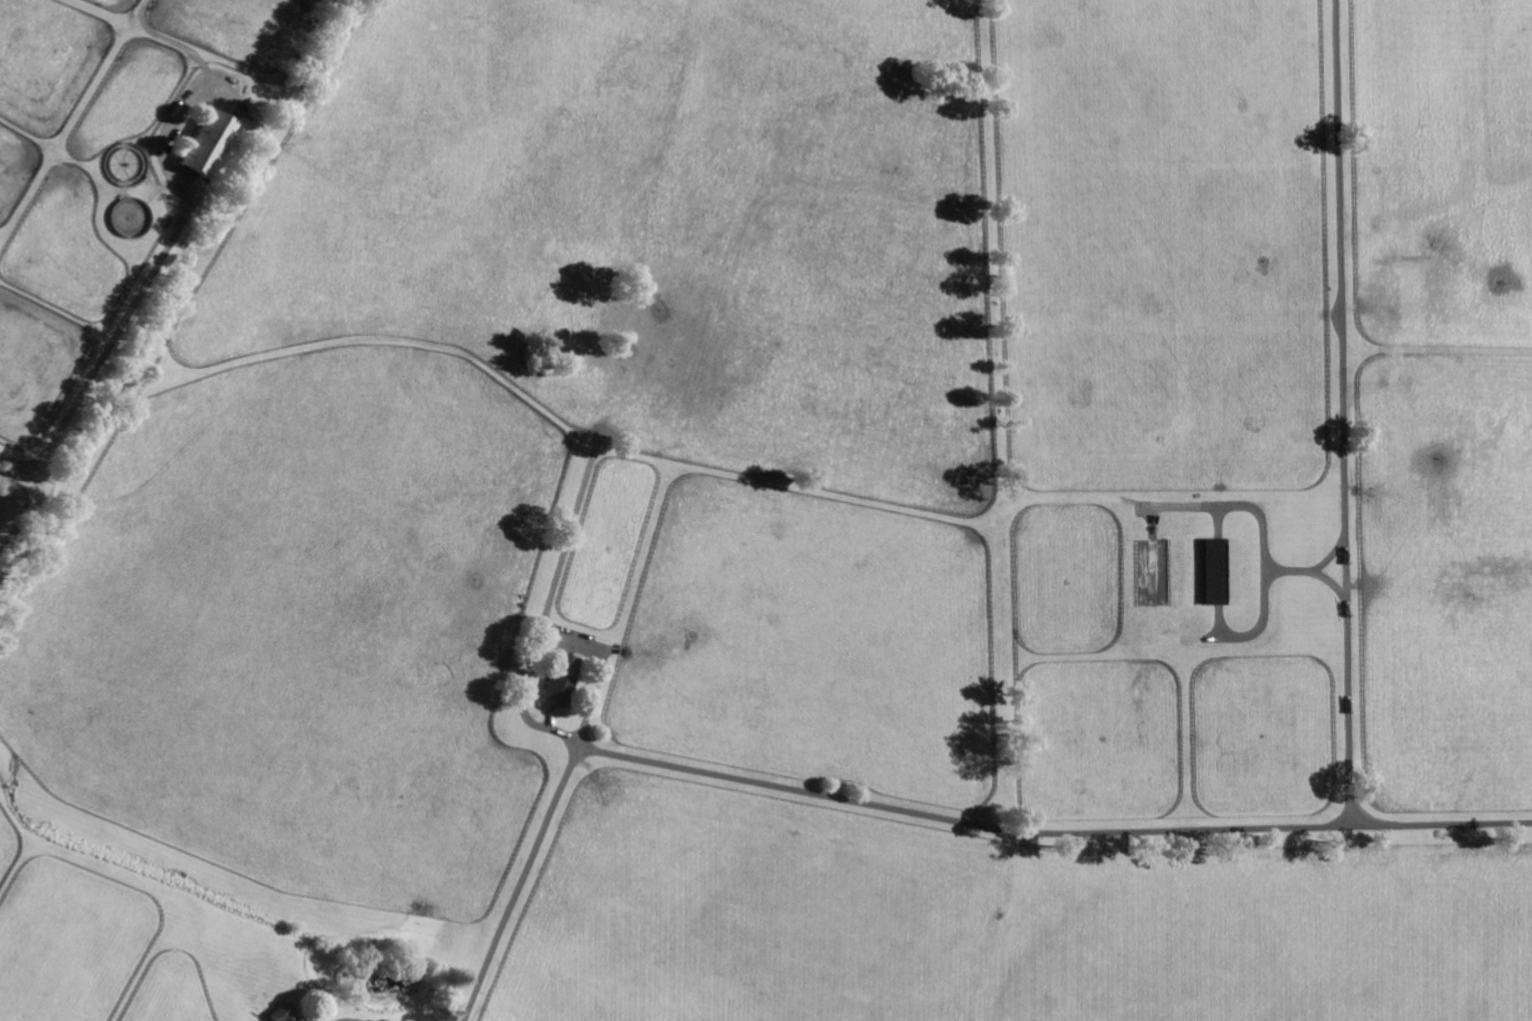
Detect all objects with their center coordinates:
building: (210, 144)
road: (113, 338)
road: (1344, 412)
road: (32, 521)
road: (553, 636)
building: (562, 680)
road: (908, 813)
building: (287, 1014)
road: (348, 1020)

